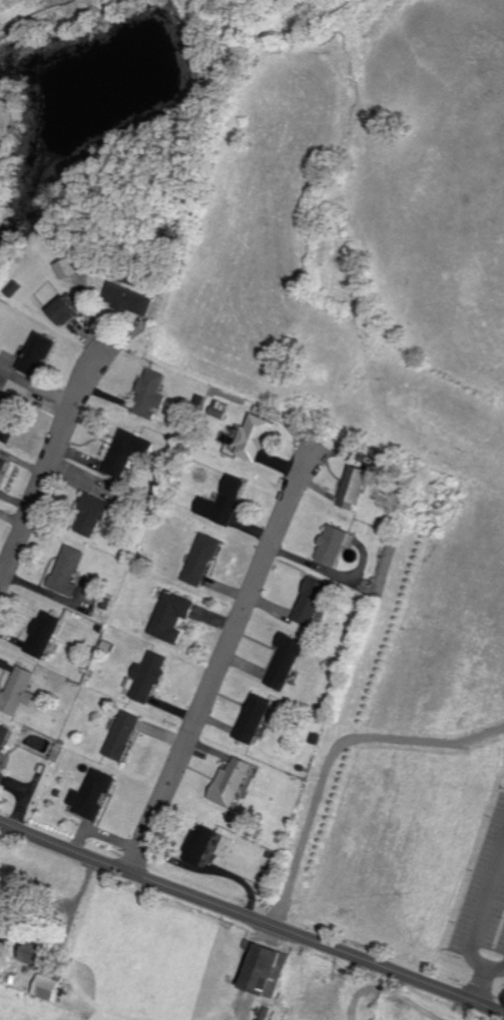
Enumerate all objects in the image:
building: (64, 268)
building: (128, 299)
building: (63, 311)
building: (38, 354)
building: (149, 394)
building: (219, 408)
building: (6, 426)
building: (254, 437)
building: (126, 452)
building: (2, 466)
road: (47, 467)
building: (353, 487)
building: (223, 502)
building: (92, 514)
building: (333, 544)
building: (202, 559)
building: (67, 569)
building: (310, 601)
building: (172, 616)
building: (43, 634)
road: (221, 660)
building: (285, 661)
building: (149, 677)
building: (18, 690)
building: (253, 718)
building: (122, 735)
building: (3, 736)
building: (2, 775)
building: (232, 780)
building: (92, 793)
building: (199, 843)
road: (251, 918)
road: (476, 918)
building: (31, 951)
building: (263, 969)
building: (44, 985)
road: (475, 985)
road: (387, 989)
road: (242, 1011)

